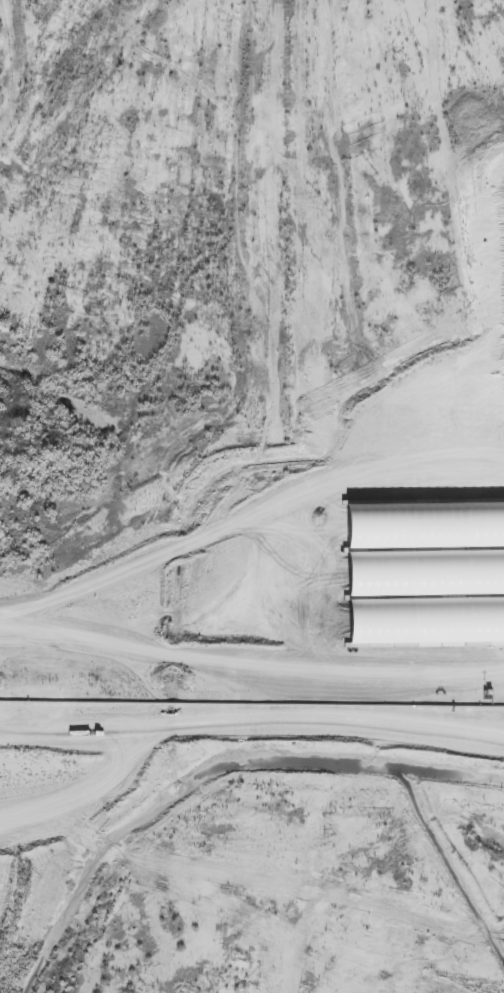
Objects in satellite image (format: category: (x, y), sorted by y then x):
road: (379, 373)
road: (139, 530)
road: (311, 691)
road: (59, 705)
road: (73, 763)

